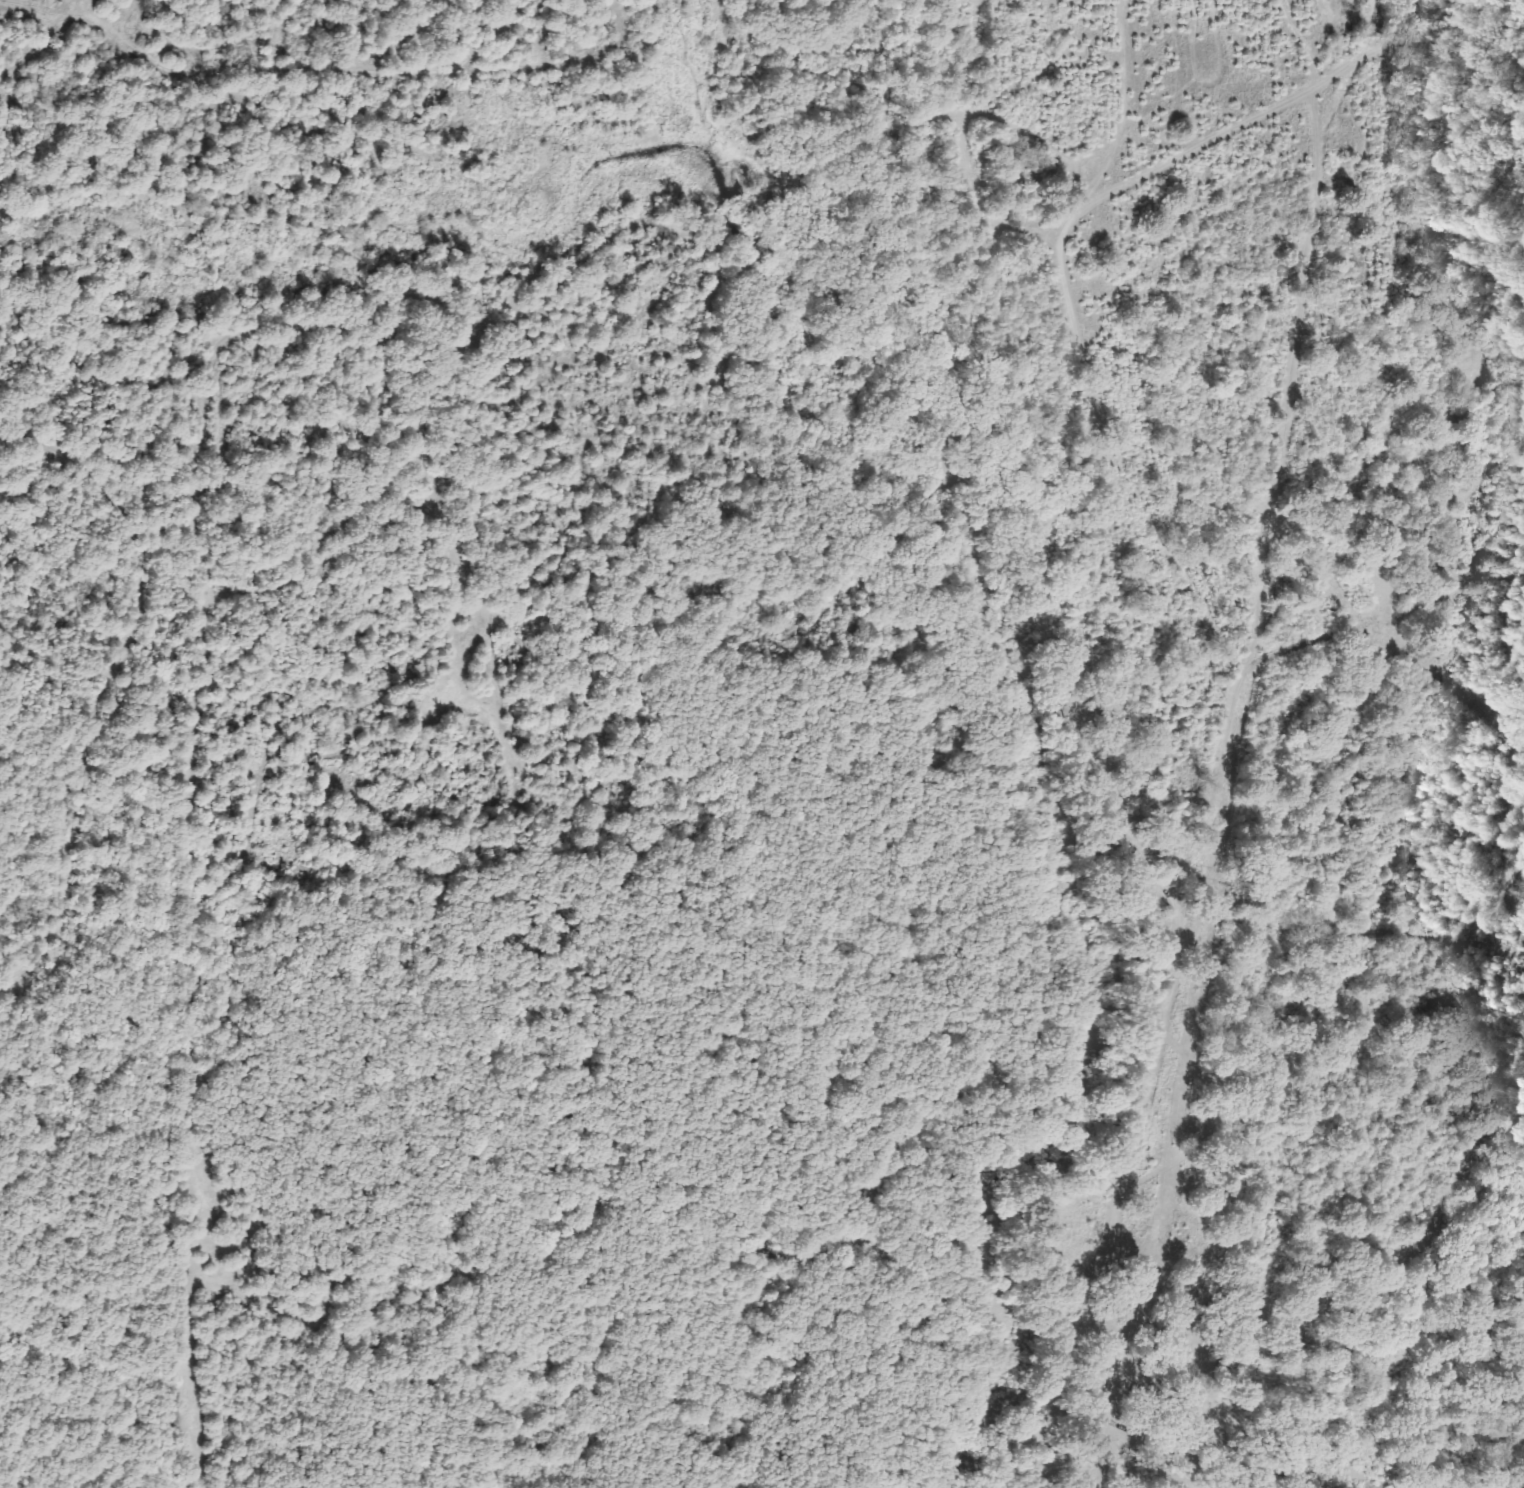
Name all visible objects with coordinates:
road: (1153, 699)

